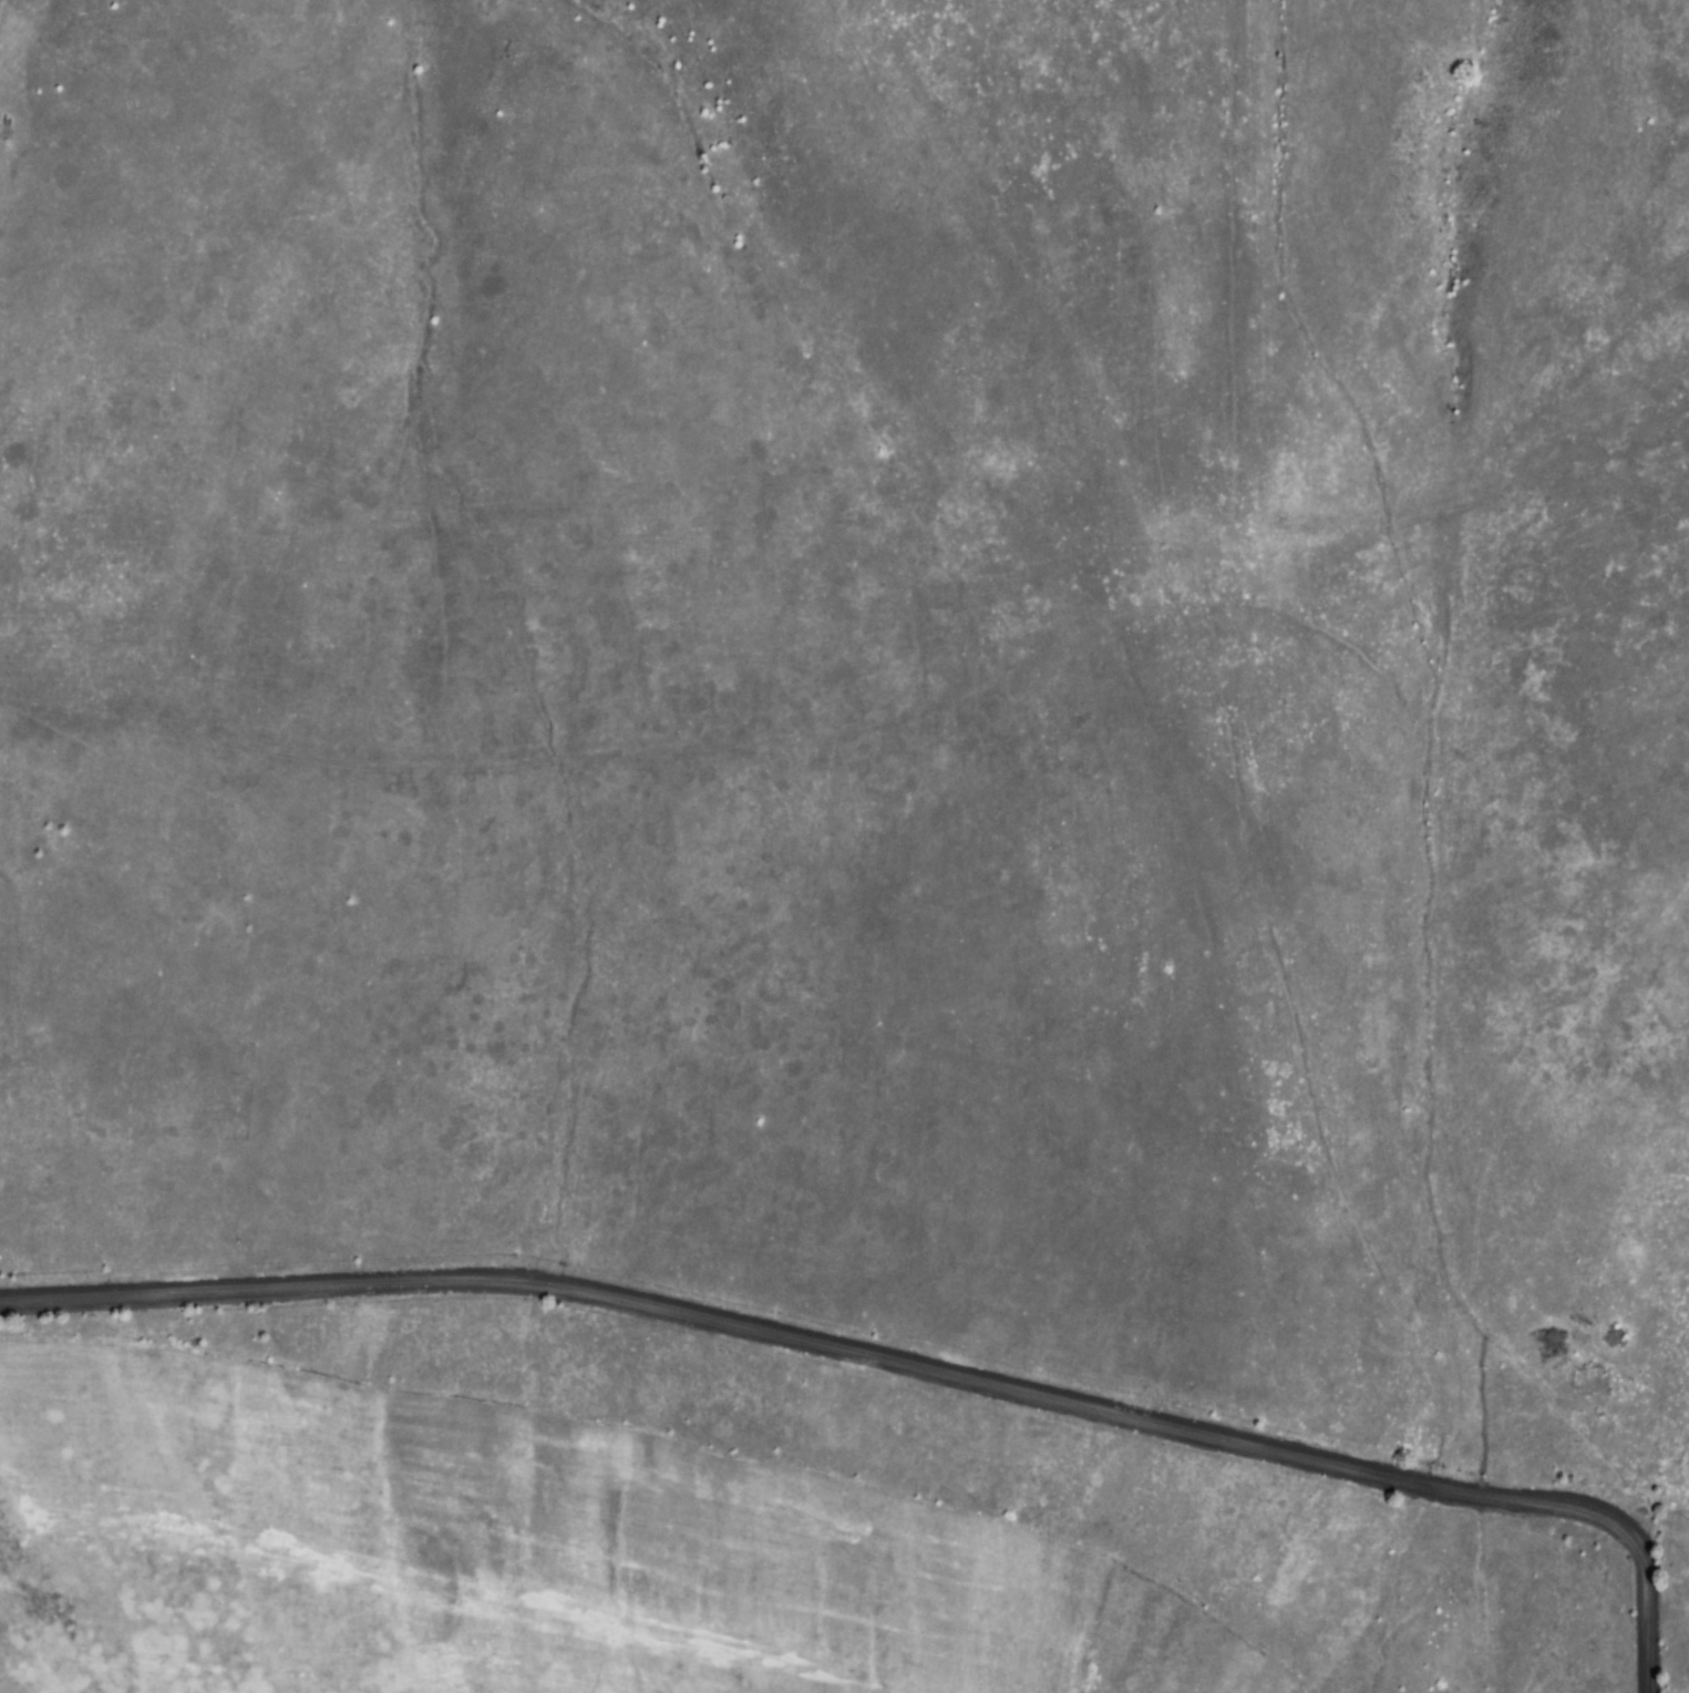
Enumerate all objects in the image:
road: (899, 1375)

